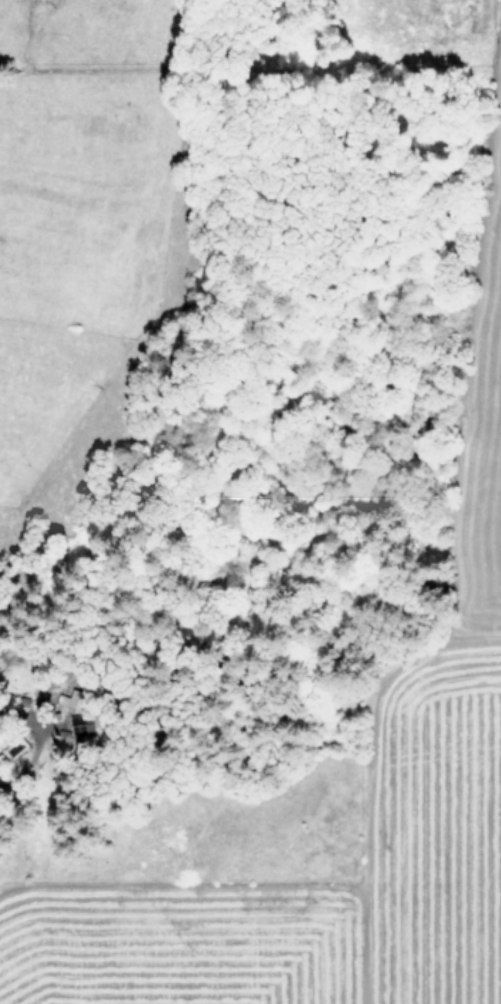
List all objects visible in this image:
crop: (89, 211)
crop: (323, 803)

